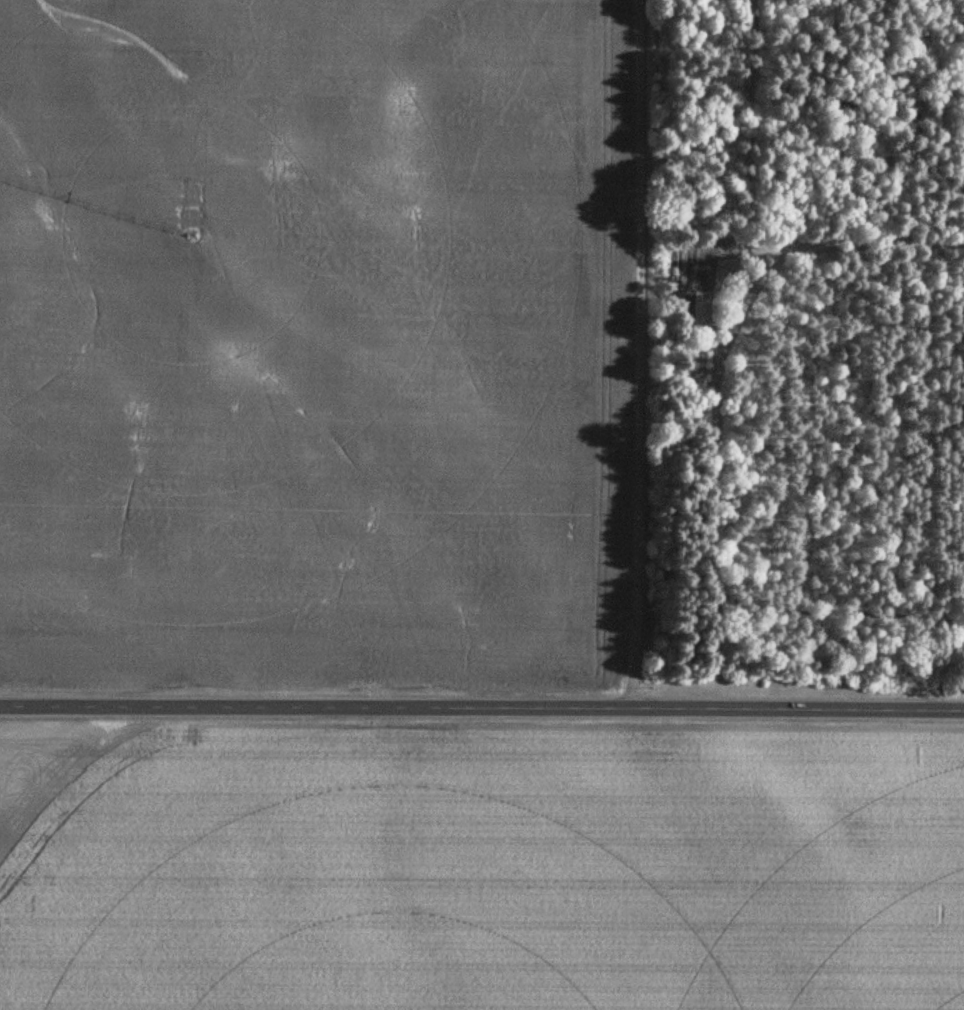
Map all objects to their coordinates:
road: (482, 708)

